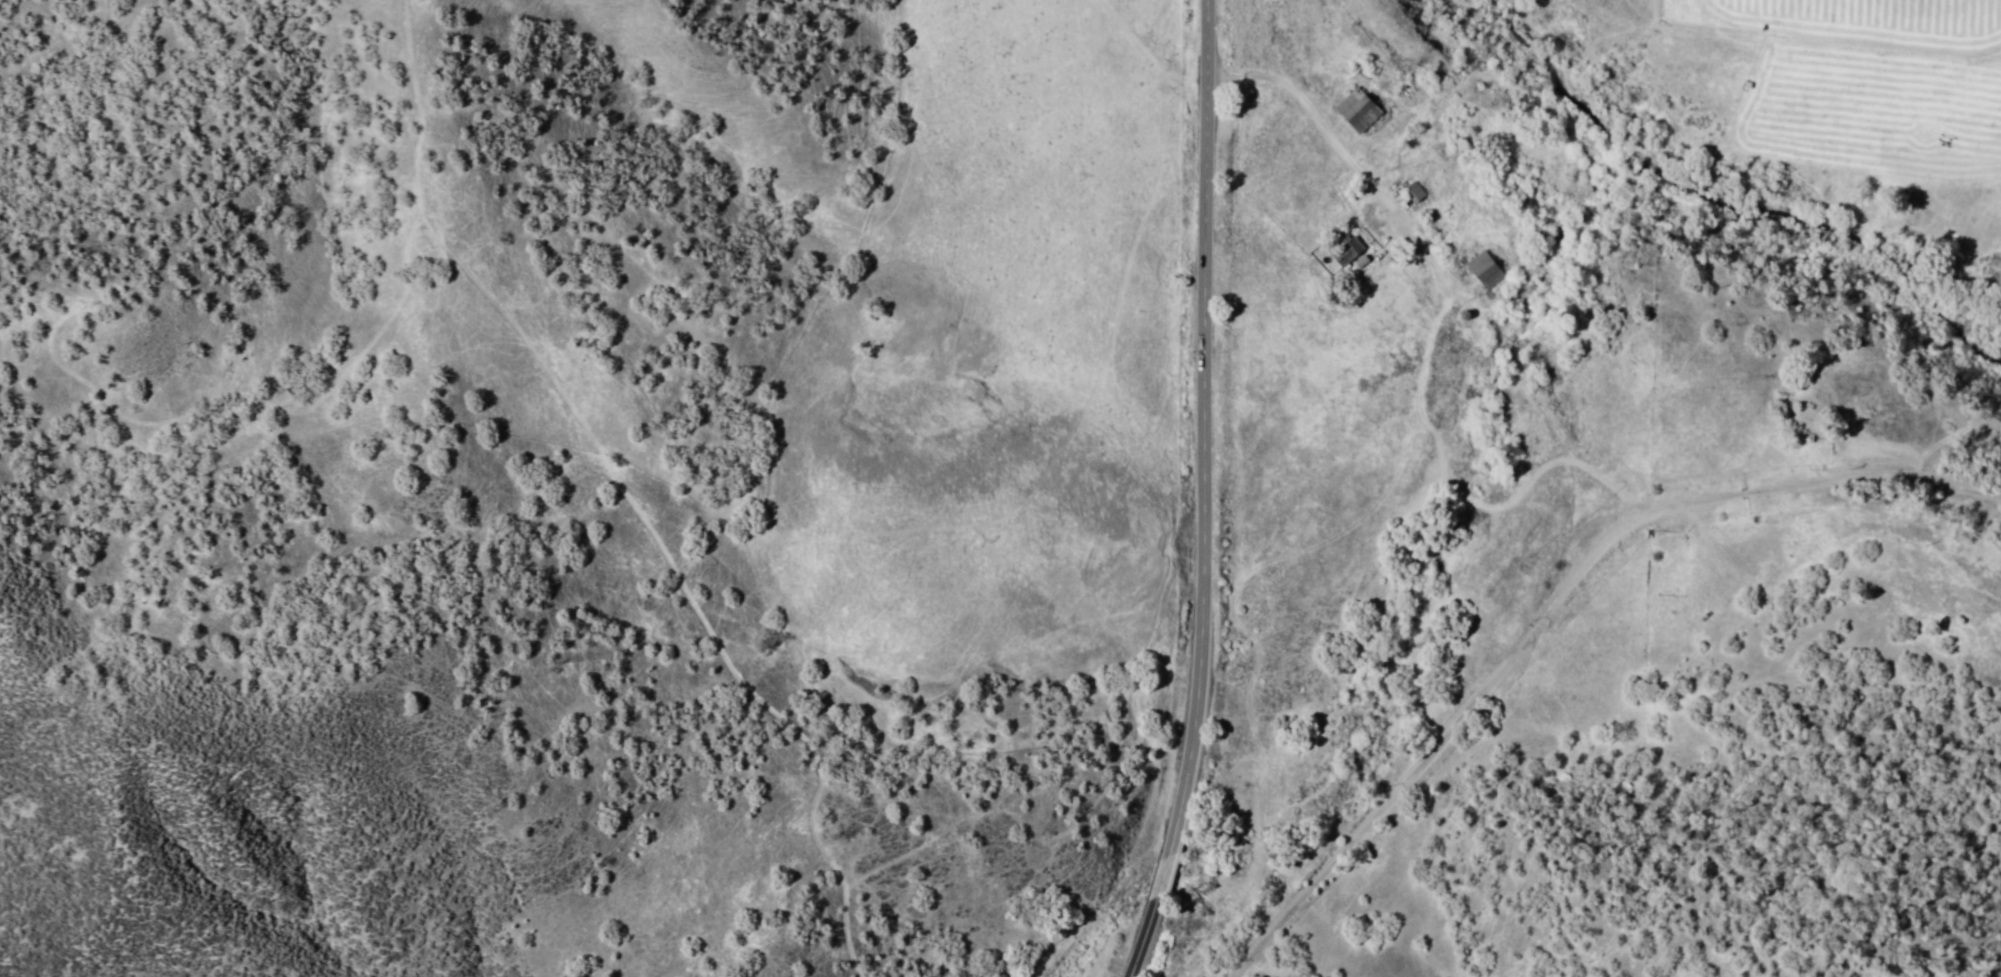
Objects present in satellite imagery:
building: (1358, 113)
building: (1416, 196)
building: (1489, 272)
road: (1445, 275)
road: (1203, 425)
road: (1562, 609)
road: (1163, 880)
road: (1142, 943)

